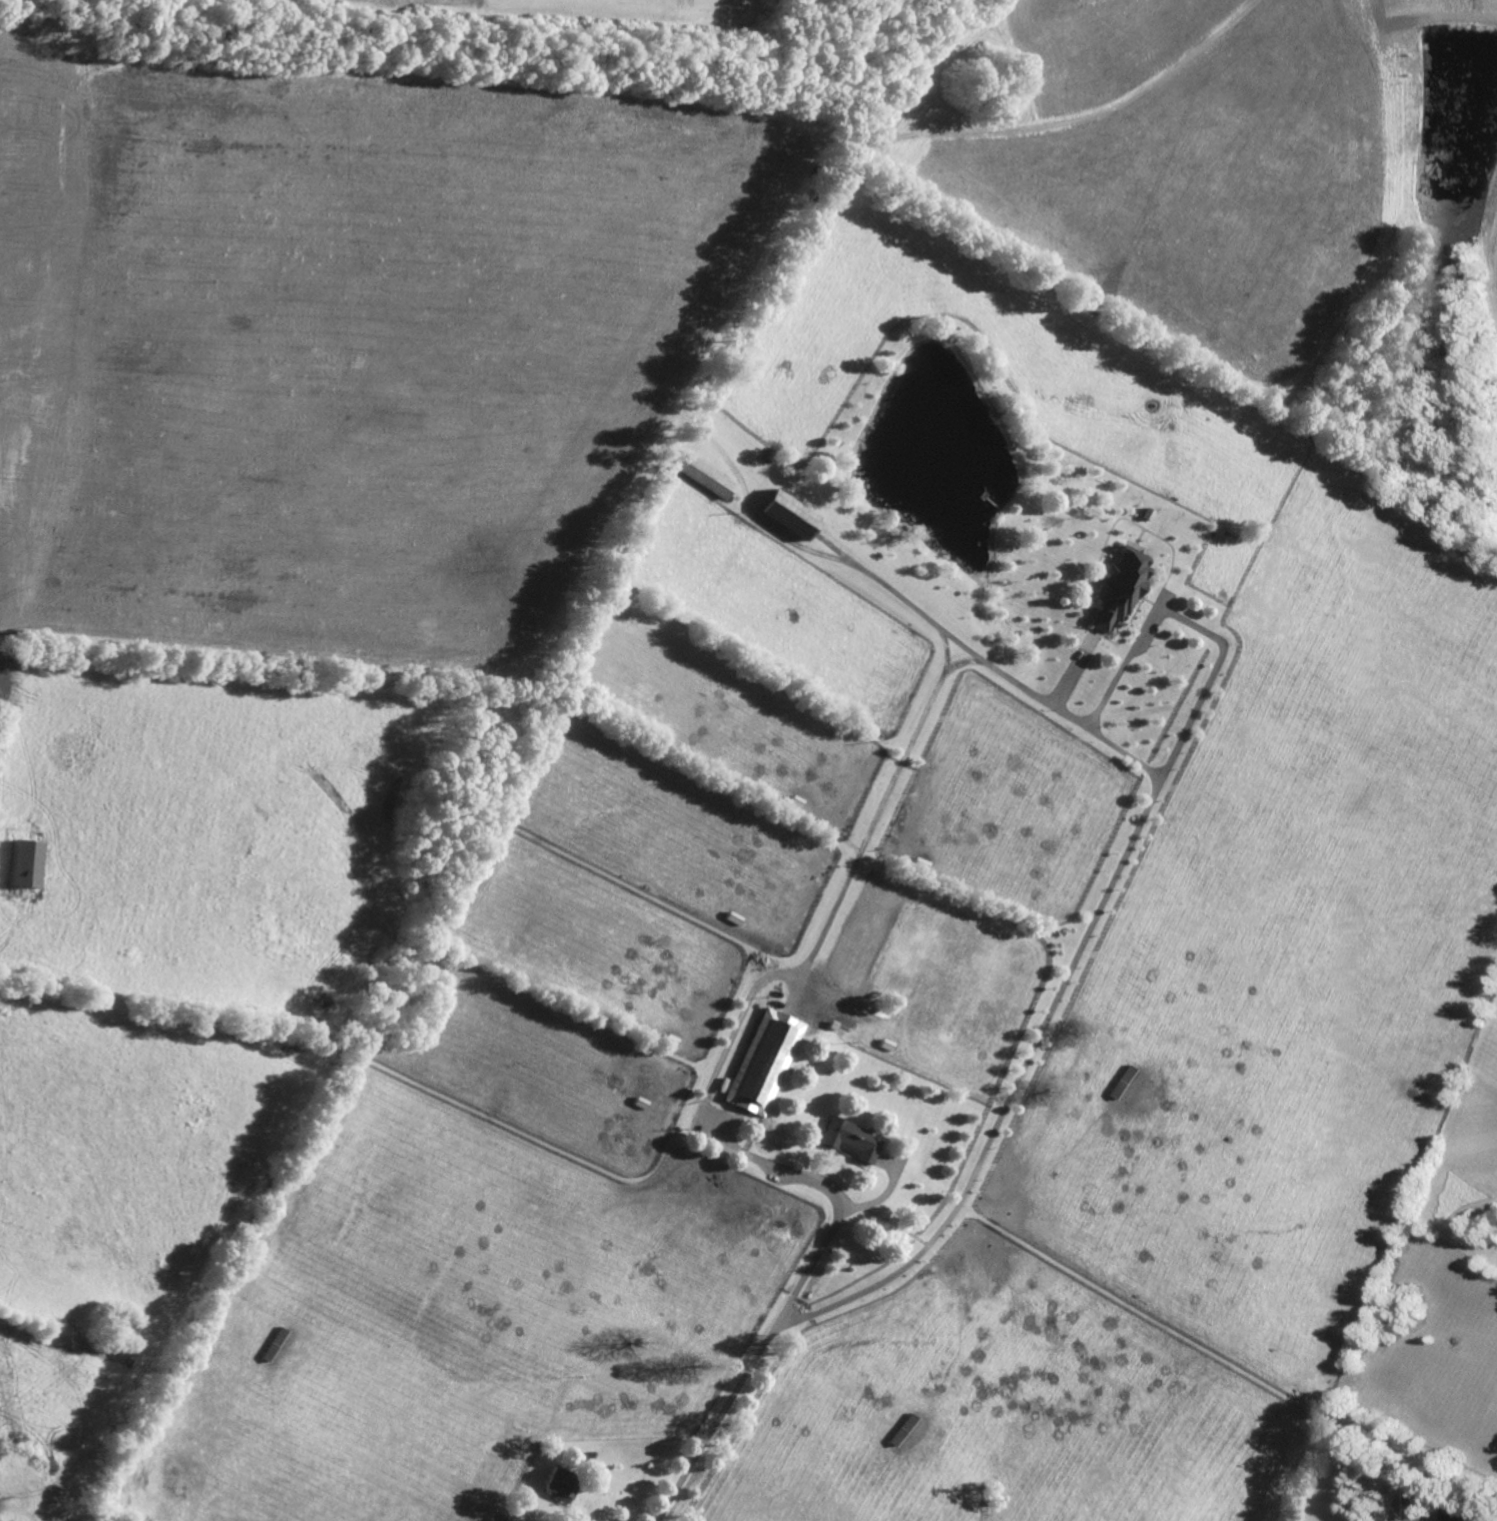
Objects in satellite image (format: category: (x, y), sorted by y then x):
building: (702, 475)
building: (1118, 589)
road: (955, 629)
road: (1074, 673)
road: (1106, 700)
building: (24, 863)
building: (764, 1062)
road: (1017, 1092)
building: (850, 1139)
road: (734, 1150)
road: (837, 1223)
building: (561, 1486)
building: (1457, 1512)

